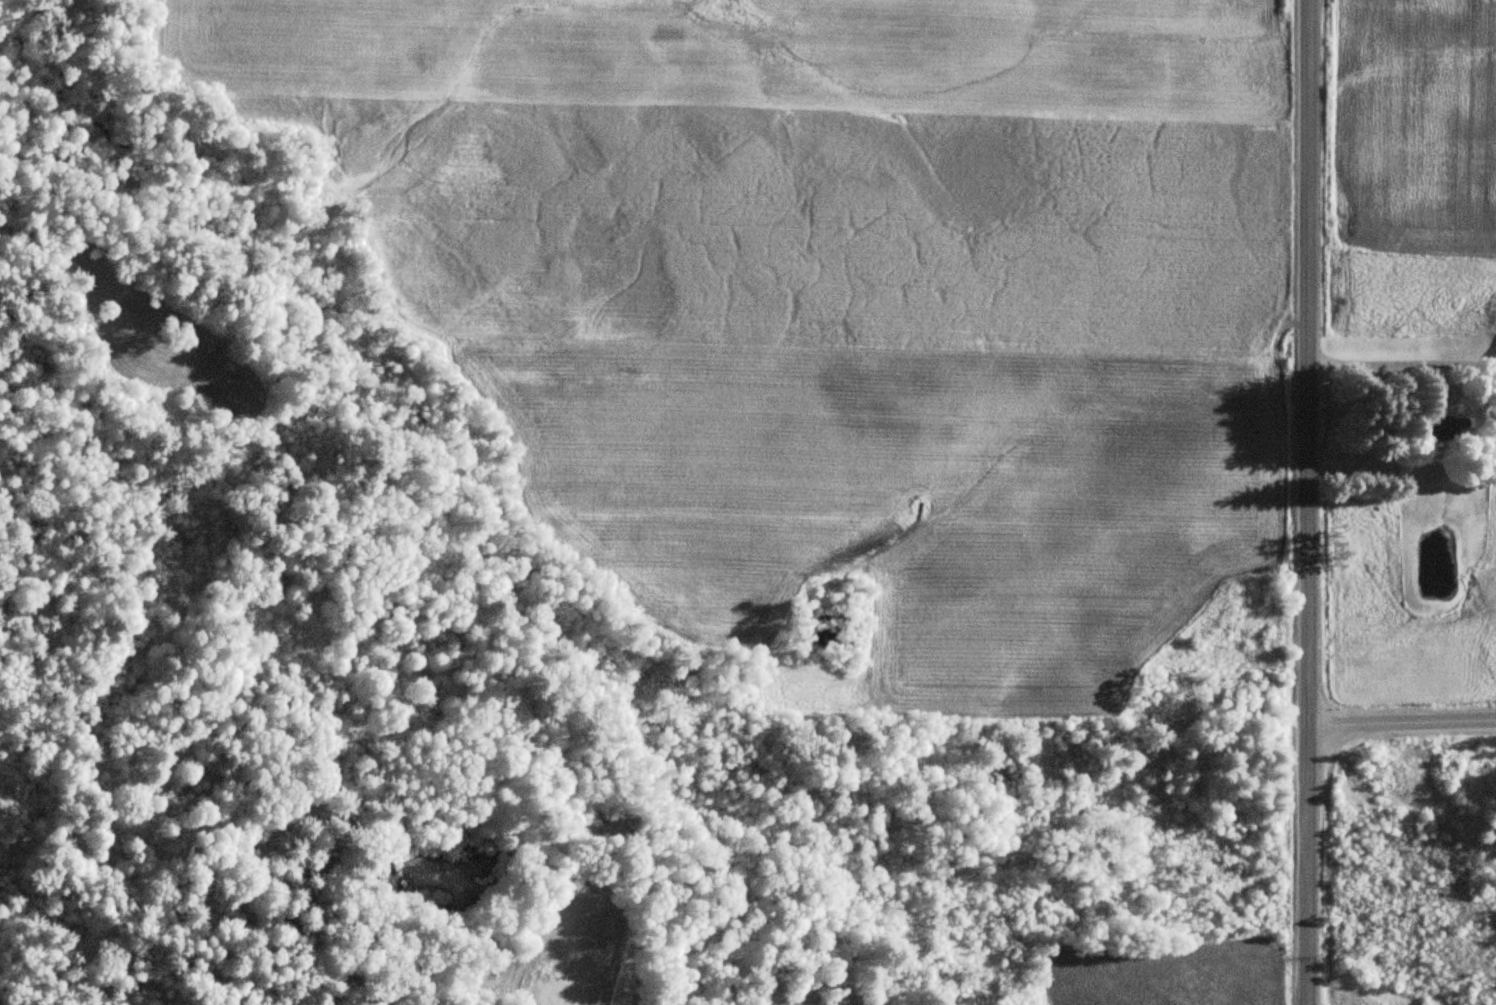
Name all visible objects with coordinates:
road: (1398, 368)
road: (1301, 502)
road: (1400, 735)

